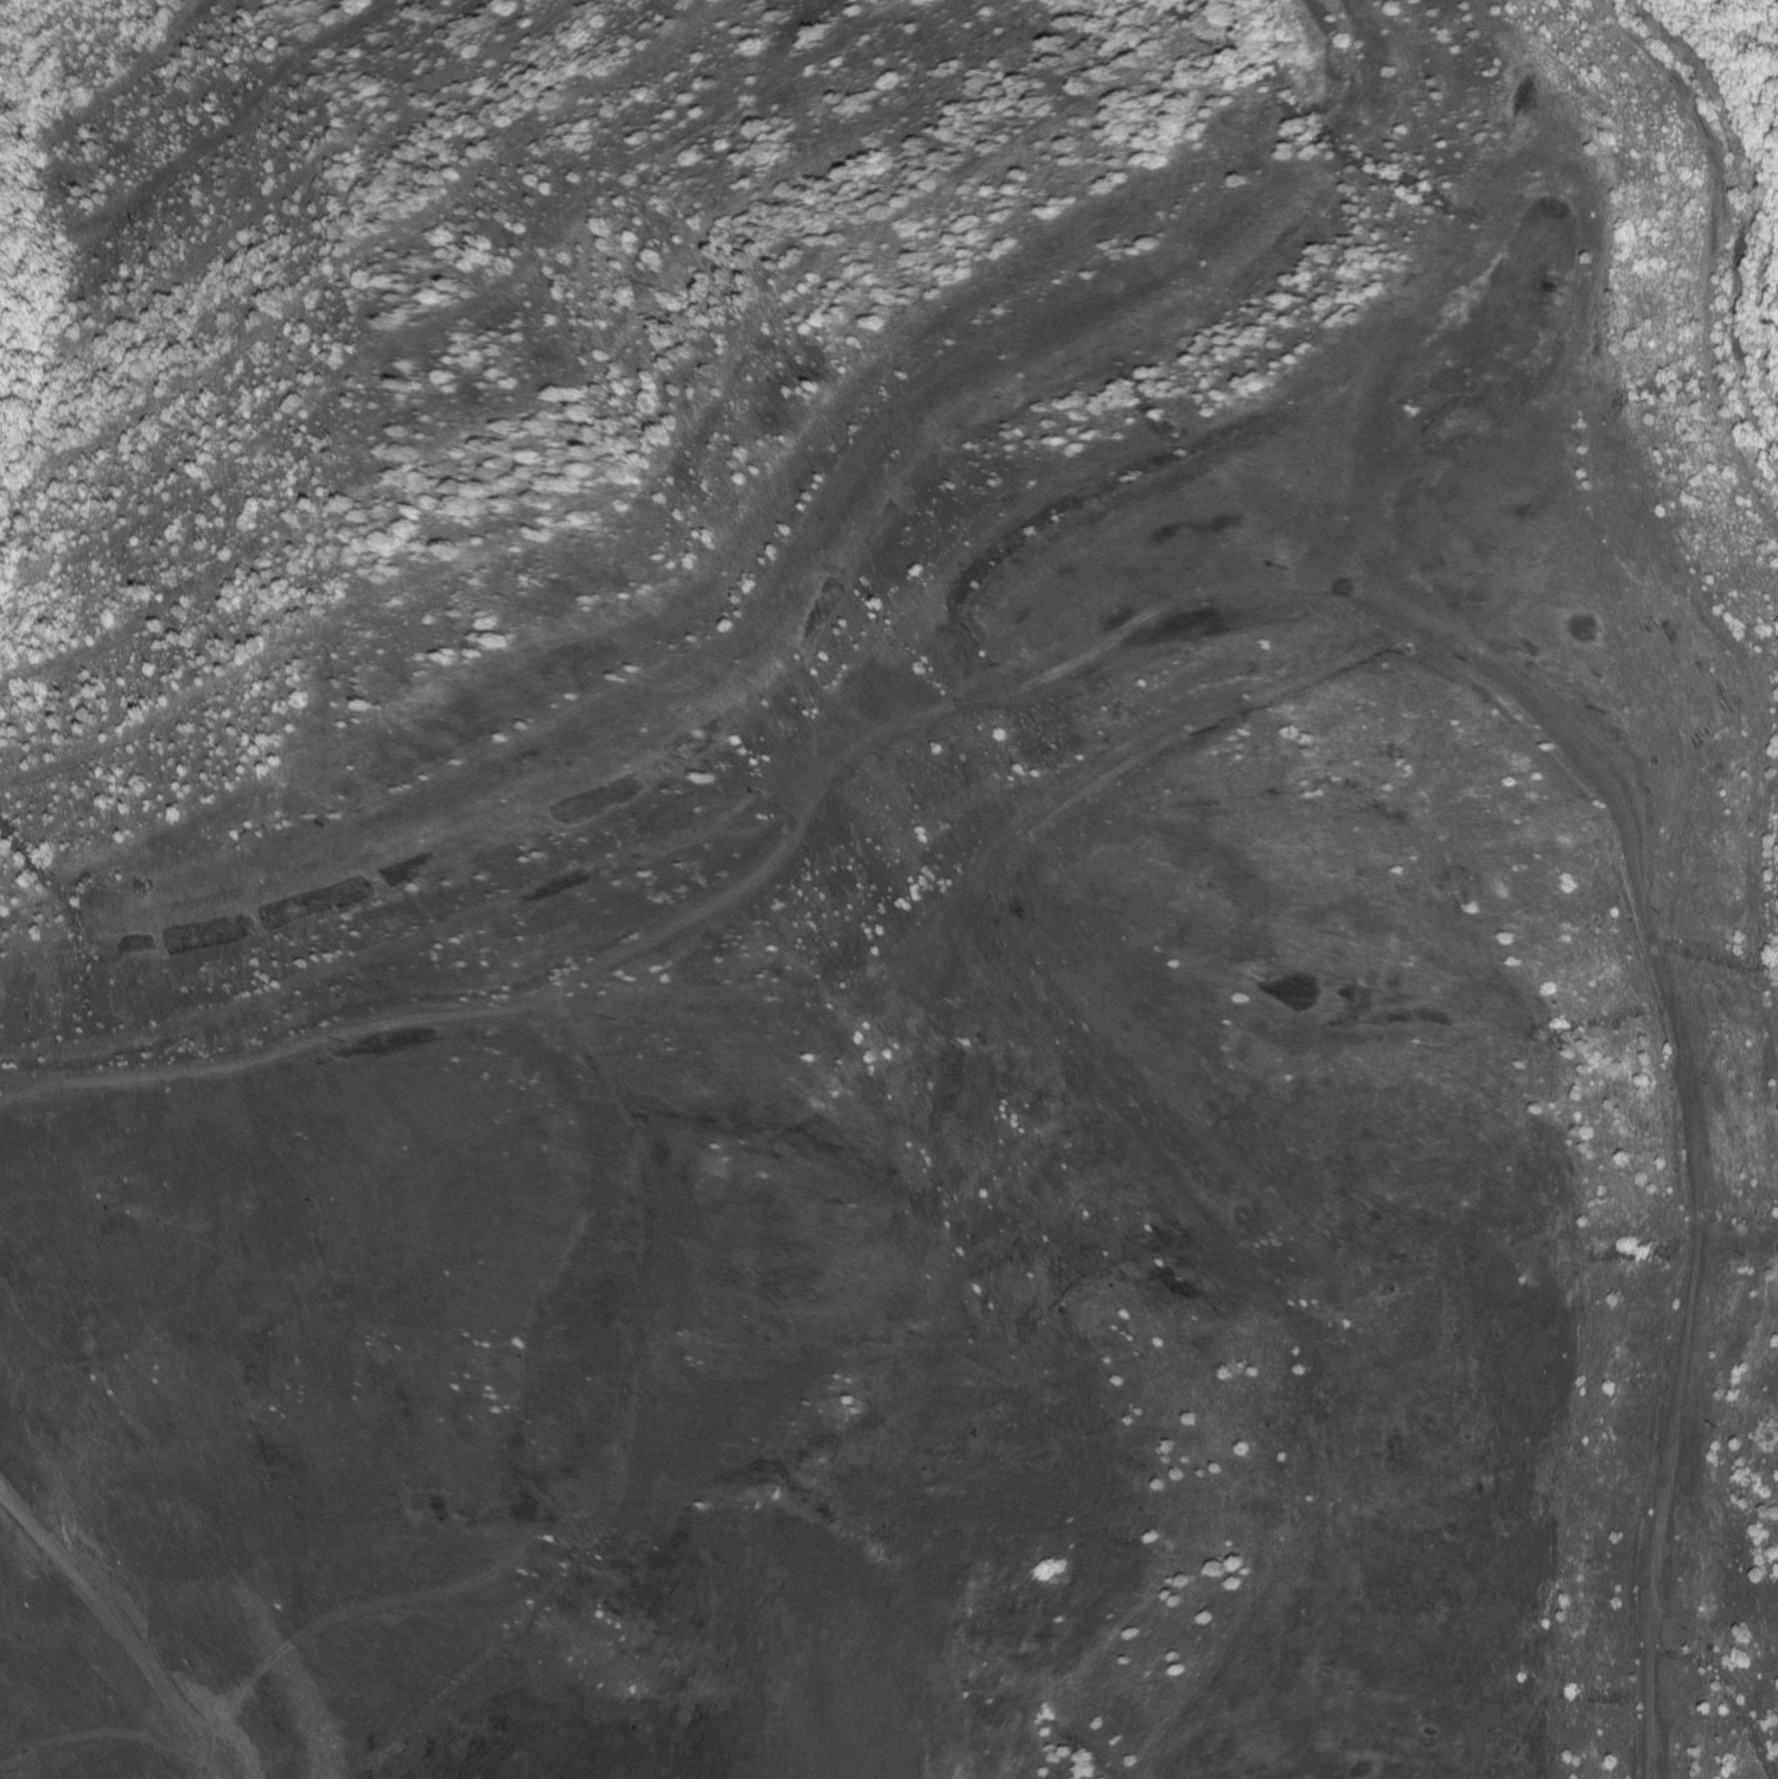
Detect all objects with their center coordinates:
quarry: (885, 893)

